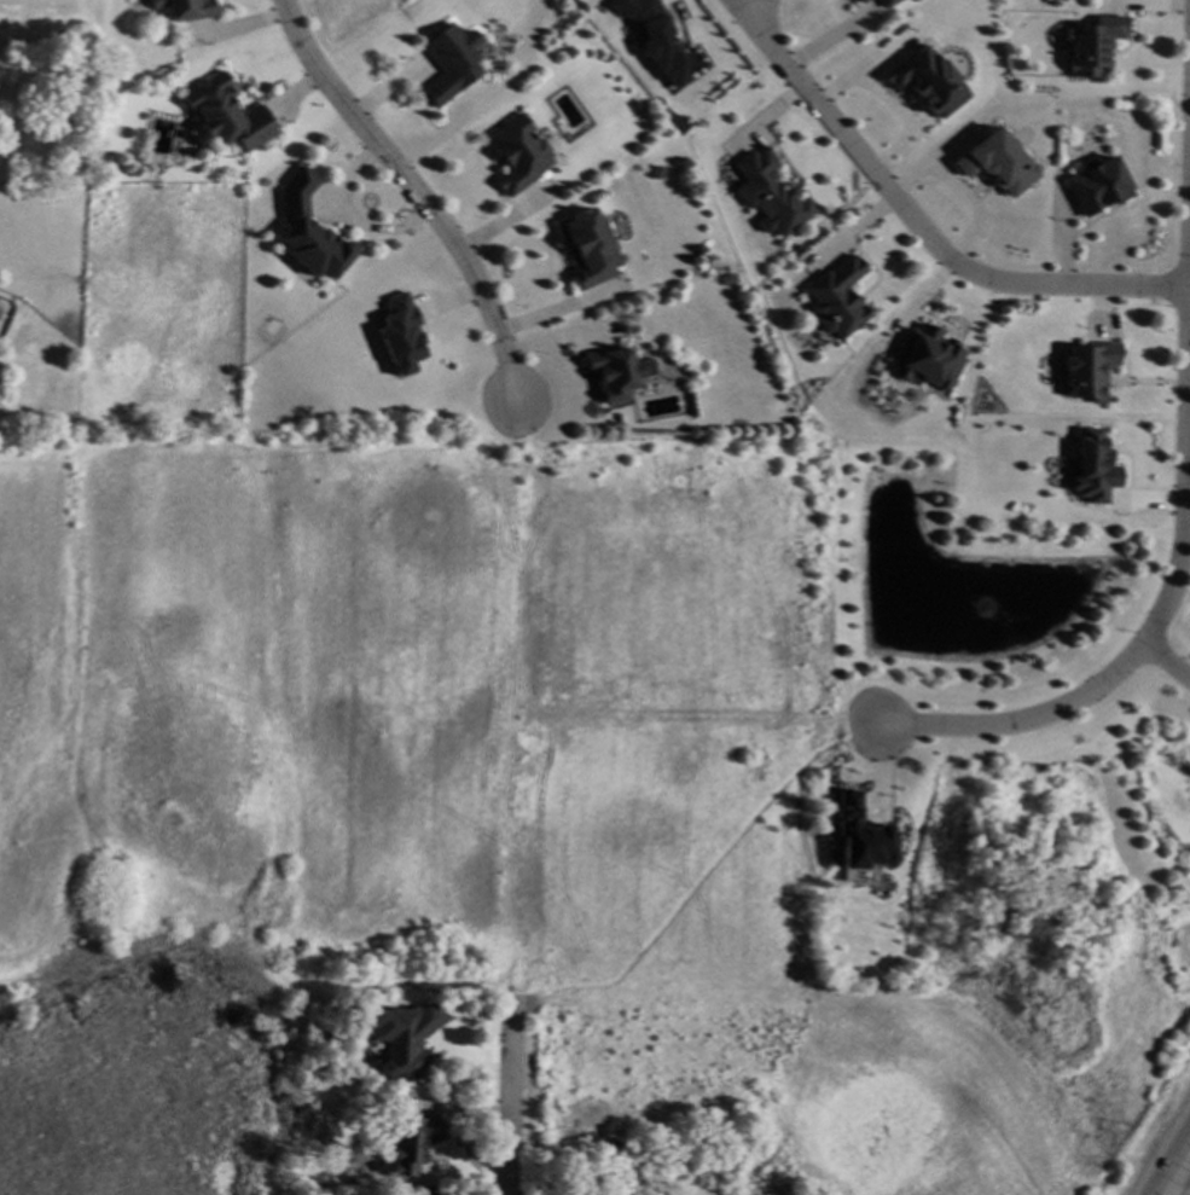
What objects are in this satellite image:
building: (855, 0)
building: (860, 1)
building: (886, 2)
building: (182, 8)
building: (654, 37)
building: (1092, 42)
building: (449, 60)
building: (925, 81)
building: (225, 114)
building: (56, 122)
building: (516, 152)
building: (997, 161)
building: (658, 184)
building: (1096, 184)
building: (770, 191)
building: (308, 227)
road: (917, 230)
building: (587, 246)
building: (726, 278)
building: (836, 297)
road: (559, 308)
building: (399, 335)
building: (924, 358)
building: (1087, 369)
building: (611, 372)
road: (524, 446)
building: (1089, 469)
road: (1183, 564)
fountain: (985, 610)
road: (1165, 662)
road: (877, 724)
building: (858, 837)
building: (401, 1036)
road: (515, 1079)
crop: (980, 1091)
building: (410, 1141)
road: (1163, 1154)

